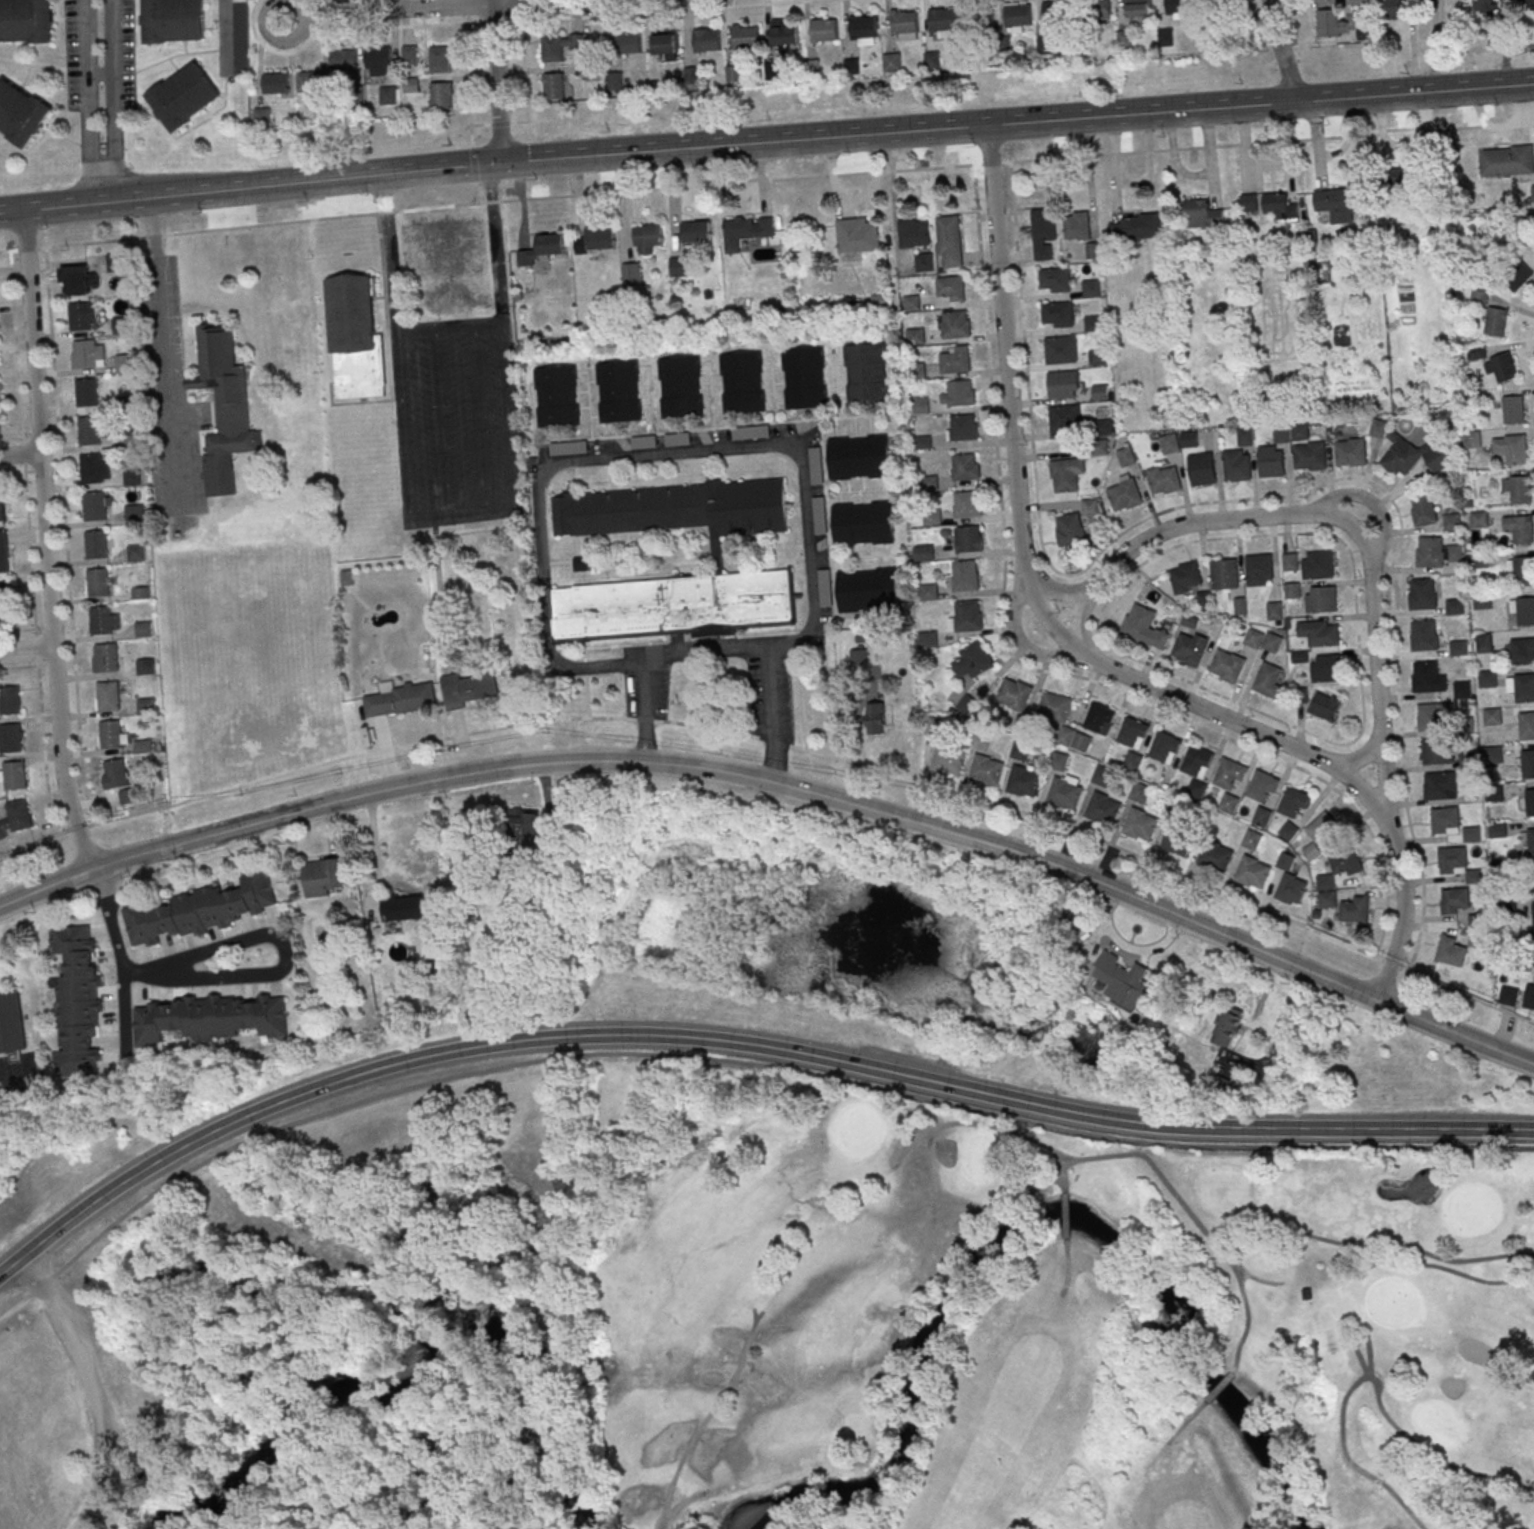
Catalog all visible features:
road: (492, 2)
road: (536, 3)
building: (1527, 4)
building: (1178, 6)
building: (1485, 6)
building: (1138, 8)
building: (1393, 8)
building: (1096, 10)
road: (388, 12)
road: (647, 13)
building: (1056, 13)
building: (979, 17)
building: (1018, 17)
building: (26, 20)
building: (172, 20)
building: (941, 20)
building: (903, 23)
building: (1330, 23)
building: (862, 28)
building: (823, 31)
building: (783, 33)
building: (240, 37)
building: (1166, 37)
building: (745, 38)
building: (1124, 38)
building: (705, 40)
road: (1503, 41)
building: (627, 43)
building: (666, 45)
building: (1044, 45)
building: (559, 46)
road: (1281, 52)
building: (408, 54)
building: (439, 59)
building: (343, 60)
building: (931, 60)
building: (378, 61)
building: (892, 62)
building: (851, 66)
road: (1504, 69)
building: (773, 70)
building: (733, 74)
building: (309, 81)
building: (614, 81)
building: (275, 83)
road: (496, 83)
building: (410, 85)
building: (554, 86)
building: (387, 95)
building: (440, 95)
building: (183, 97)
road: (113, 100)
road: (83, 102)
building: (20, 114)
building: (261, 115)
road: (766, 142)
building: (1506, 162)
traffic signals: (499, 163)
building: (1401, 180)
road: (768, 182)
building: (1532, 193)
building: (1249, 202)
building: (1341, 202)
building: (1280, 206)
building: (1201, 215)
building: (1077, 225)
building: (1135, 229)
building: (746, 231)
building: (695, 232)
building: (914, 233)
building: (1044, 233)
building: (857, 235)
building: (646, 238)
building: (596, 240)
building: (1513, 240)
building: (949, 241)
road: (494, 243)
building: (541, 249)
building: (1093, 250)
road: (388, 252)
building: (113, 262)
building: (924, 262)
building: (678, 266)
building: (630, 272)
building: (1516, 275)
building: (77, 281)
building: (1055, 281)
building: (1090, 289)
building: (950, 290)
building: (1479, 297)
building: (1057, 315)
building: (81, 316)
building: (1496, 321)
building: (1092, 324)
building: (120, 326)
road: (448, 326)
building: (955, 326)
building: (915, 336)
building: (355, 338)
road: (162, 345)
building: (1060, 351)
building: (1476, 352)
building: (85, 355)
building: (1097, 359)
building: (955, 361)
building: (122, 364)
building: (1501, 366)
building: (865, 376)
building: (804, 380)
building: (742, 384)
building: (1063, 386)
building: (680, 388)
building: (85, 393)
building: (618, 393)
building: (1100, 394)
building: (960, 395)
building: (556, 398)
building: (223, 408)
building: (1514, 410)
road: (509, 413)
building: (1064, 420)
road: (400, 423)
building: (1102, 428)
building: (963, 430)
building: (91, 431)
building: (750, 432)
building: (1299, 433)
building: (1280, 435)
road: (10, 437)
building: (1244, 438)
building: (677, 439)
building: (129, 440)
building: (1471, 440)
building: (1189, 441)
building: (641, 442)
building: (1098, 448)
building: (1511, 449)
road: (651, 453)
building: (1350, 453)
road: (19, 454)
building: (1126, 456)
building: (1309, 457)
building: (1416, 457)
building: (859, 458)
building: (1270, 463)
building: (816, 465)
building: (1235, 467)
building: (965, 469)
building: (93, 470)
building: (1201, 470)
road: (11, 474)
building: (1066, 474)
building: (132, 479)
building: (1164, 479)
building: (1520, 491)
building: (1124, 493)
road: (1373, 501)
building: (94, 507)
building: (967, 507)
building: (1090, 507)
building: (1423, 510)
building: (1, 511)
building: (675, 511)
building: (133, 514)
building: (819, 516)
road: (464, 517)
building: (932, 518)
building: (1479, 520)
building: (1451, 523)
building: (863, 525)
building: (1069, 529)
building: (1523, 531)
road: (64, 537)
building: (967, 541)
road: (45, 542)
building: (95, 545)
road: (28, 547)
building: (923, 552)
building: (3, 553)
building: (135, 554)
building: (1430, 554)
building: (1479, 560)
building: (581, 564)
building: (1289, 564)
building: (1317, 567)
building: (1259, 569)
building: (1523, 571)
building: (1224, 574)
building: (965, 577)
building: (1185, 577)
building: (97, 583)
road: (1028, 585)
building: (825, 588)
road: (1056, 589)
building: (867, 591)
building: (1292, 592)
building: (1422, 595)
building: (6, 597)
building: (1203, 599)
building: (1321, 599)
building: (1481, 600)
building: (1239, 608)
building: (1454, 608)
building: (1274, 613)
building: (1525, 613)
building: (968, 618)
road: (1372, 621)
building: (103, 622)
road: (1079, 623)
building: (1146, 627)
building: (142, 630)
road: (17, 631)
building: (1318, 634)
building: (1424, 637)
building: (1254, 640)
building: (1271, 643)
building: (1484, 643)
road: (1022, 645)
road: (26, 648)
road: (706, 648)
building: (1458, 649)
building: (1189, 650)
building: (1522, 653)
building: (106, 659)
building: (972, 661)
building: (1227, 667)
road: (18, 668)
building: (145, 668)
road: (1027, 668)
building: (1325, 668)
building: (1425, 679)
building: (1487, 680)
building: (1267, 682)
building: (1524, 689)
building: (467, 691)
building: (1462, 691)
building: (1014, 693)
building: (107, 697)
building: (9, 702)
building: (401, 702)
building: (966, 704)
building: (1324, 706)
building: (145, 707)
building: (1054, 707)
building: (1433, 716)
building: (876, 718)
building: (1492, 718)
building: (1097, 719)
building: (1464, 727)
building: (1526, 727)
building: (1131, 734)
building: (109, 735)
building: (1064, 737)
building: (9, 739)
building: (982, 741)
building: (1080, 743)
road: (781, 745)
building: (142, 747)
building: (1163, 748)
building: (1437, 751)
building: (1020, 752)
building: (1492, 756)
building: (947, 761)
building: (1195, 761)
building: (1467, 761)
building: (1057, 763)
building: (1131, 763)
building: (1528, 765)
building: (985, 772)
building: (13, 775)
building: (115, 775)
building: (1228, 775)
building: (1101, 777)
building: (1469, 779)
road: (781, 783)
building: (1023, 783)
building: (1261, 787)
building: (1439, 787)
building: (1195, 791)
building: (1063, 794)
building: (1139, 794)
building: (1493, 794)
building: (1530, 802)
building: (1292, 804)
building: (1228, 805)
building: (1176, 809)
building: (1101, 810)
building: (16, 818)
building: (1260, 818)
building: (1445, 820)
building: (524, 825)
building: (1139, 826)
building: (1497, 832)
building: (1288, 833)
building: (1318, 834)
building: (1470, 835)
building: (1530, 840)
building: (1176, 842)
building: (1250, 842)
building: (1214, 858)
building: (1451, 860)
building: (1285, 862)
building: (1499, 870)
building: (1252, 874)
building: (326, 877)
building: (1474, 878)
building: (1325, 883)
building: (1290, 891)
building: (1454, 901)
building: (403, 907)
building: (1507, 907)
building: (201, 909)
building: (1354, 909)
building: (1533, 915)
building: (1477, 923)
road: (1129, 946)
building: (1451, 950)
road: (124, 969)
road: (279, 971)
building: (1123, 983)
building: (1508, 995)
building: (1529, 996)
building: (78, 1000)
building: (209, 1018)
building: (12, 1023)
building: (1227, 1027)
road: (755, 1046)
road: (735, 1062)
road: (6, 1078)
building: (1222, 1087)
park: (595, 1152)
river: (1016, 1226)
road: (11, 1262)
park: (1055, 1336)
river: (409, 1345)
park: (87, 1386)
road: (90, 1386)
road: (133, 1465)
parking lot: (84, 1524)

